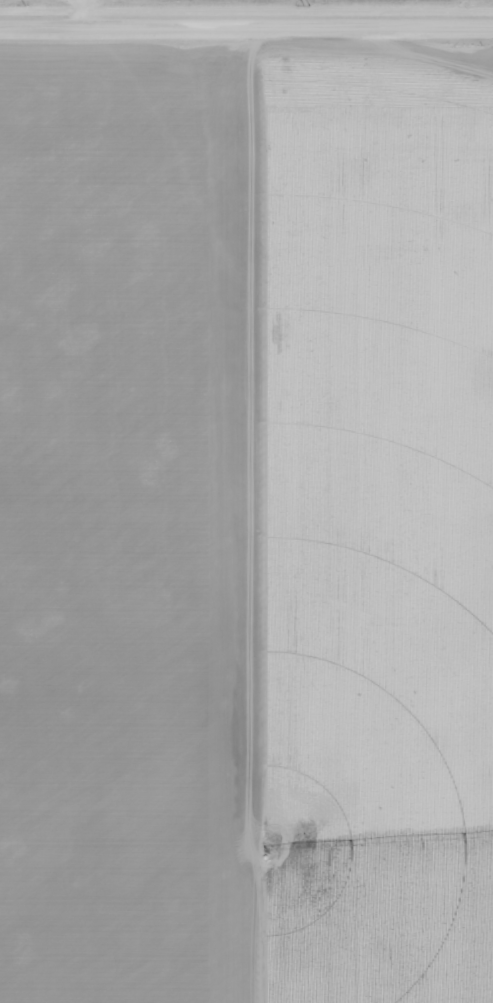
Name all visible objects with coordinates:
road: (317, 2)

